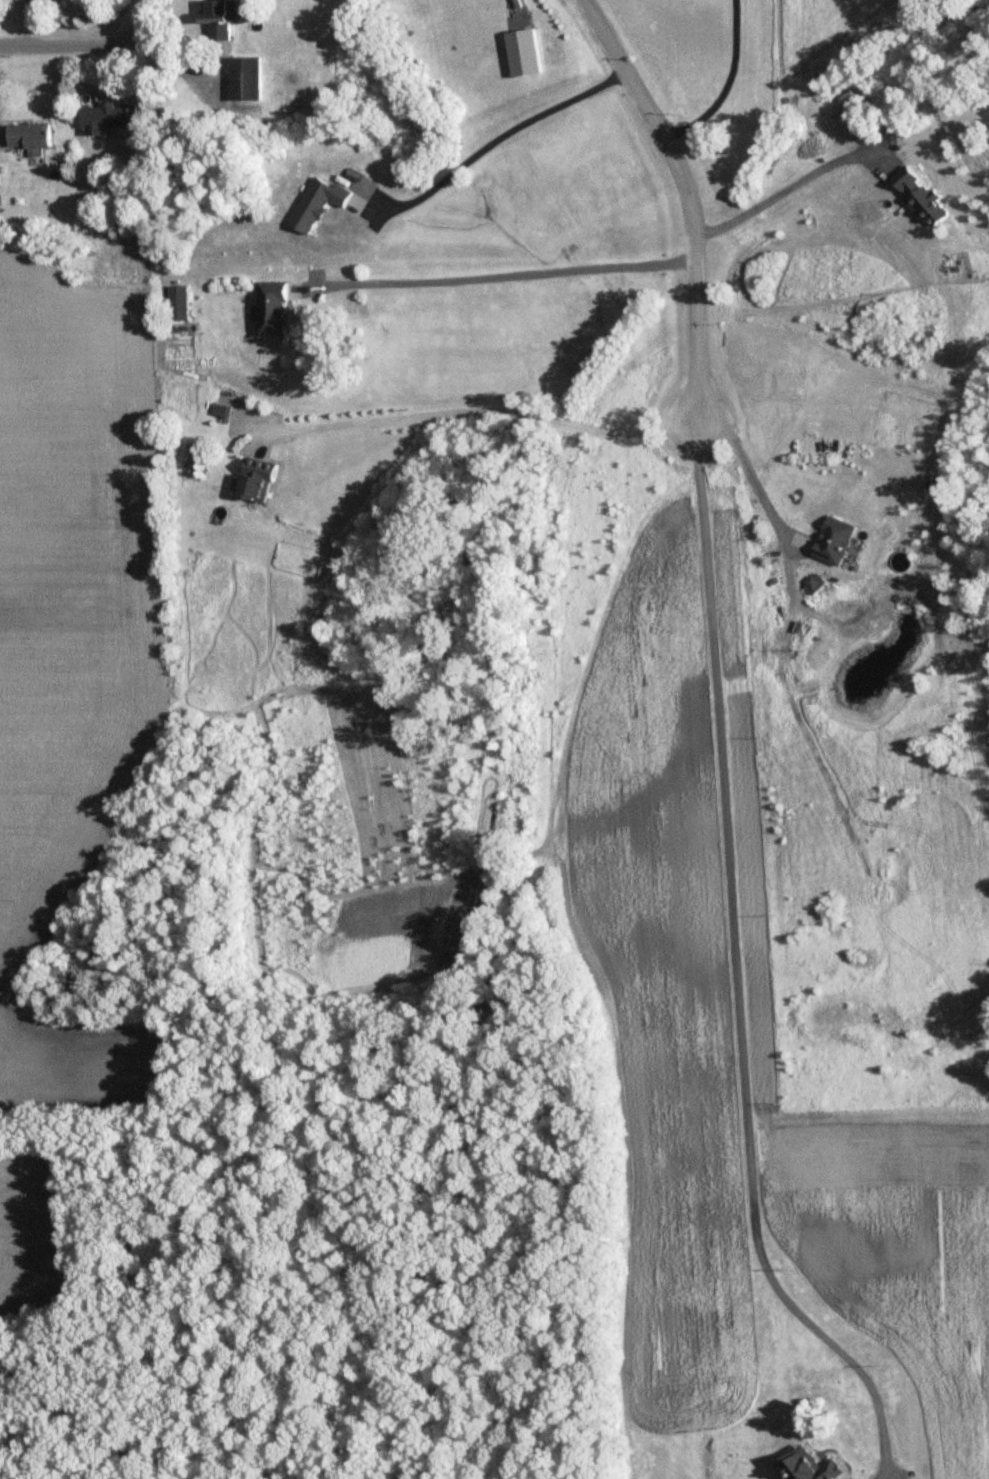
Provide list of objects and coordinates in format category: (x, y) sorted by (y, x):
road: (145, 6)
building: (224, 24)
road: (78, 41)
building: (526, 55)
building: (252, 81)
road: (726, 84)
building: (113, 120)
building: (35, 139)
road: (494, 141)
road: (793, 189)
road: (688, 199)
building: (931, 204)
building: (321, 205)
road: (497, 278)
building: (180, 304)
building: (275, 308)
building: (221, 411)
road: (479, 414)
road: (750, 473)
building: (261, 480)
building: (837, 542)
road: (733, 977)

